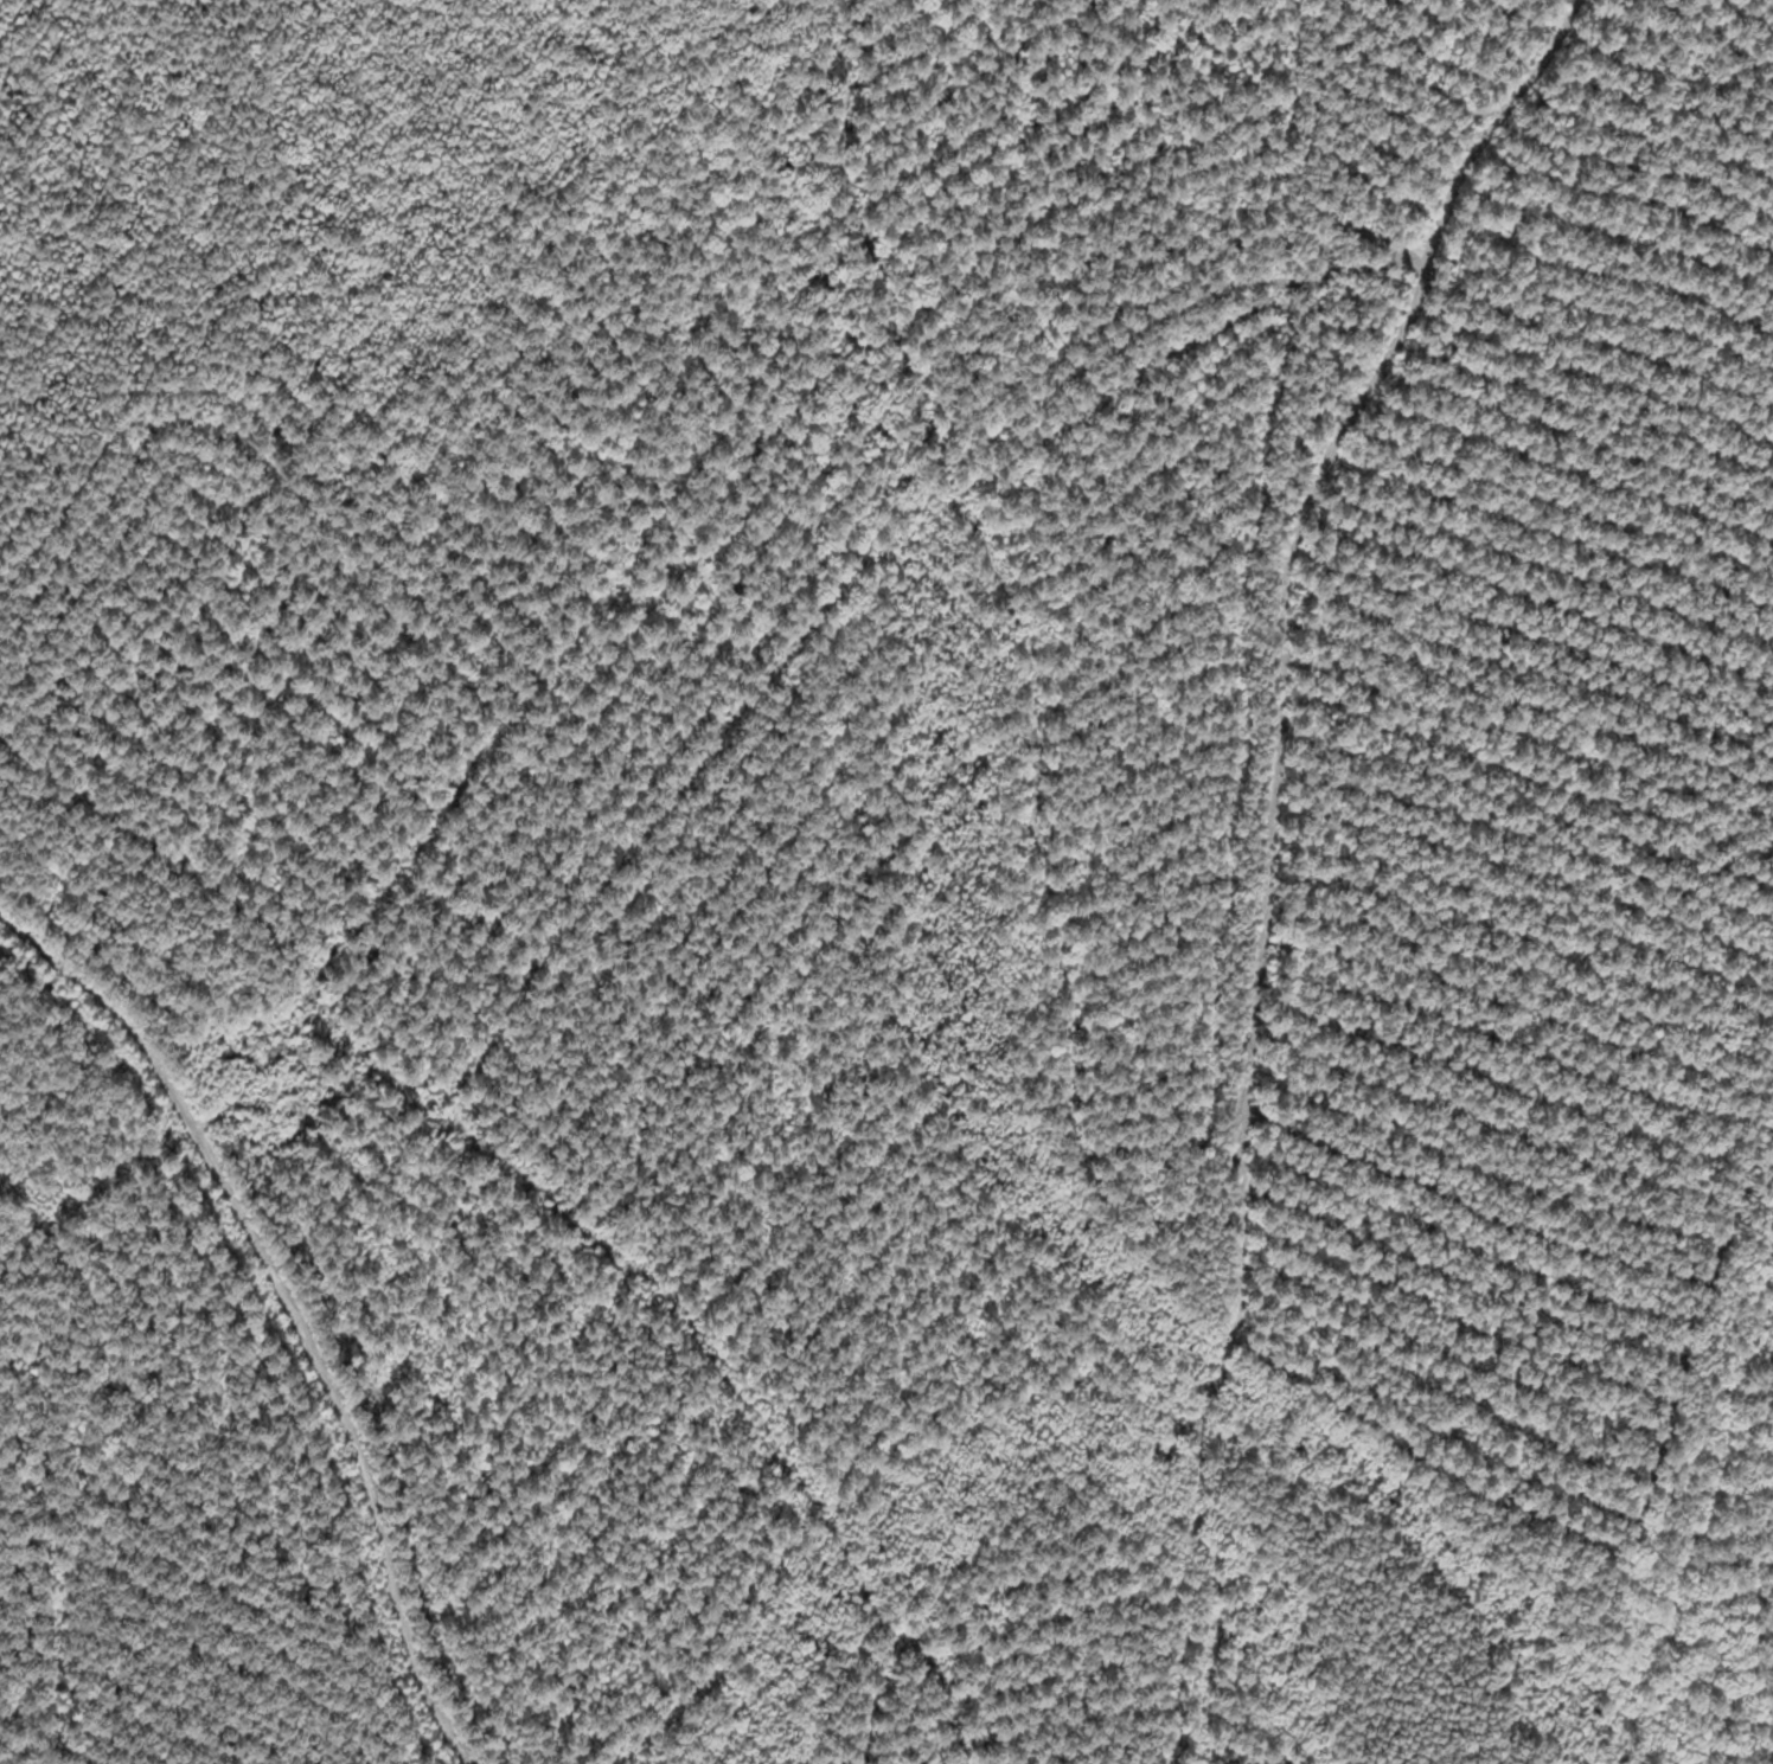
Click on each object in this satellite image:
road: (290, 1307)

